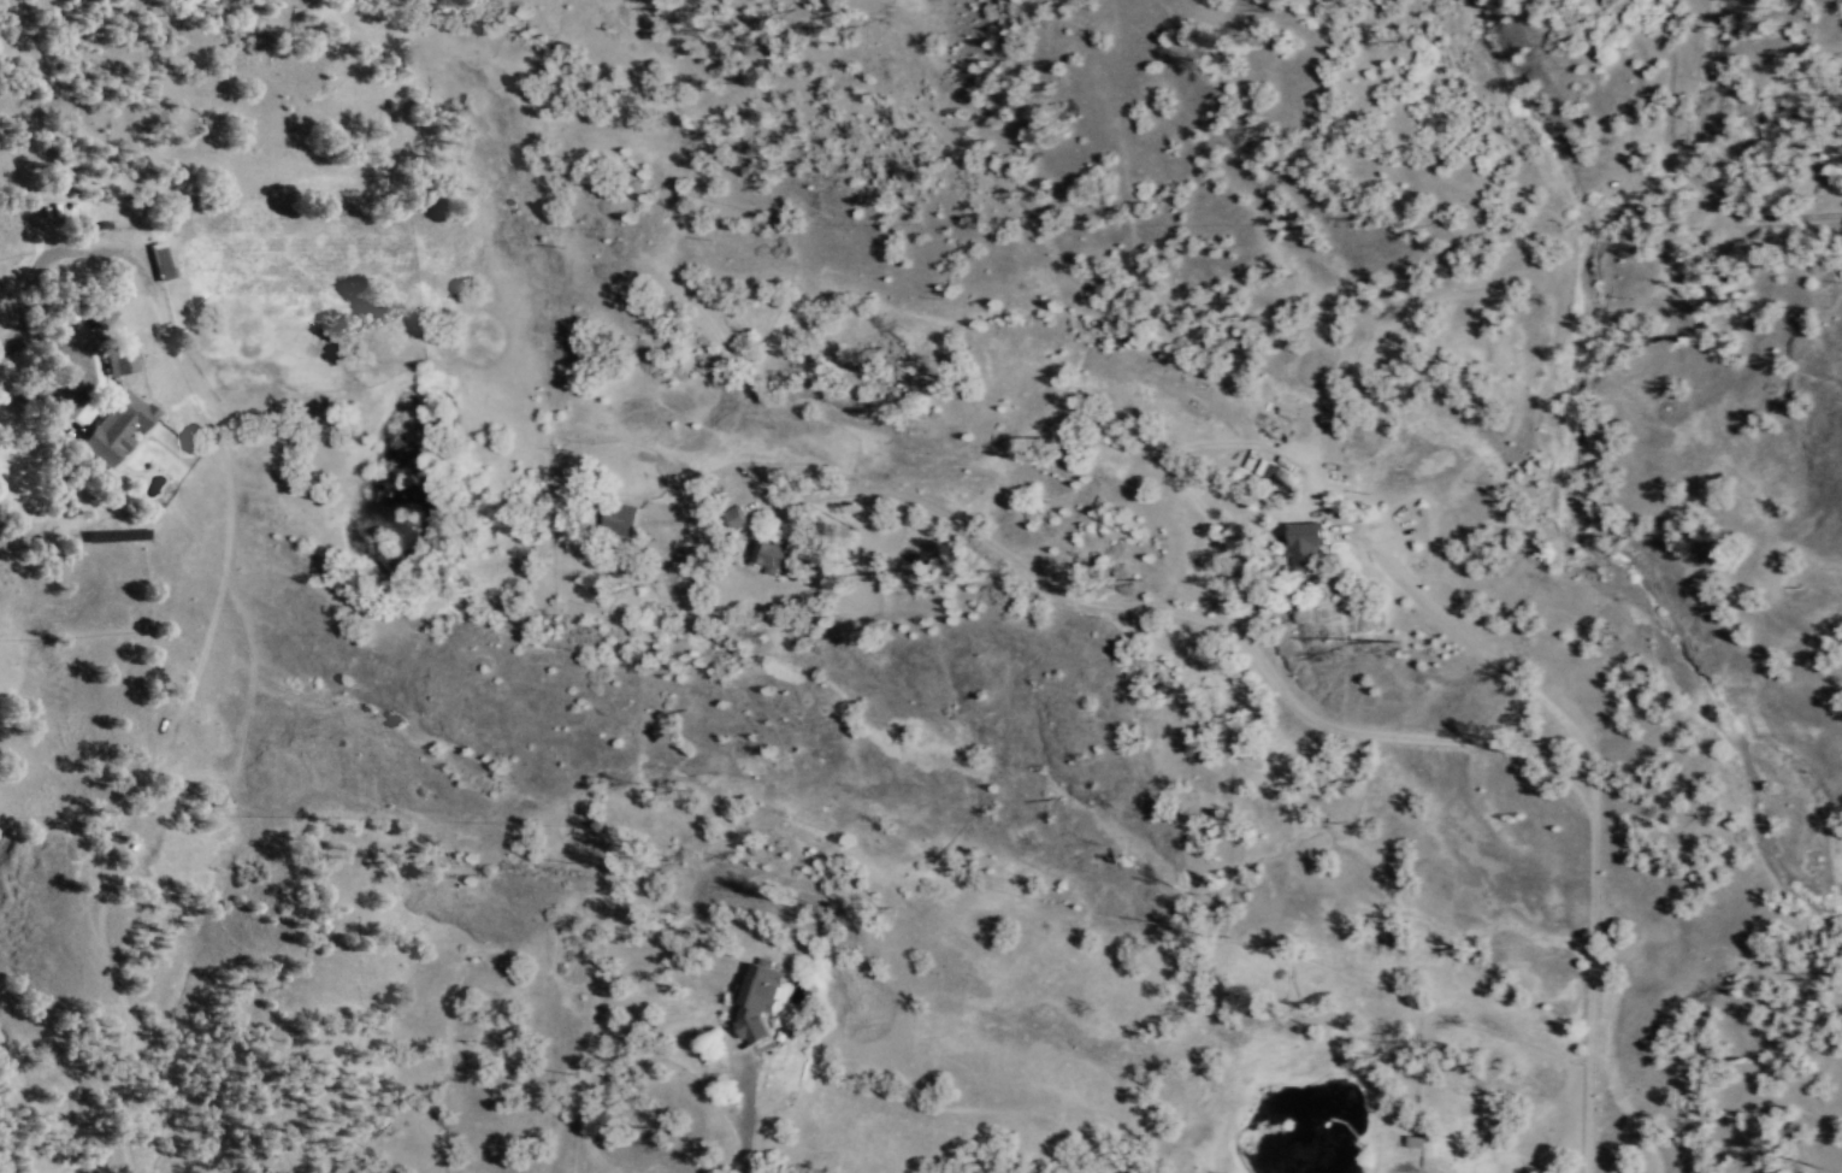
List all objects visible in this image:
road: (1687, 172)
building: (159, 259)
building: (100, 312)
building: (119, 359)
road: (75, 370)
road: (202, 388)
building: (116, 425)
building: (621, 518)
building: (1300, 541)
building: (775, 555)
road: (1132, 605)
road: (1484, 650)
road: (1590, 991)
building: (760, 1002)
road: (744, 1113)
road: (1399, 1167)

